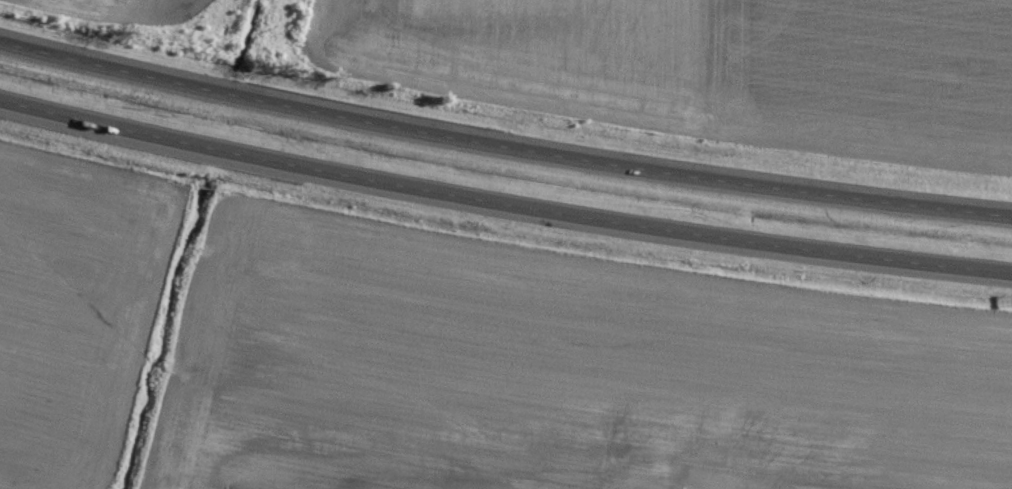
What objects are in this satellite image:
road: (502, 149)
road: (503, 205)

